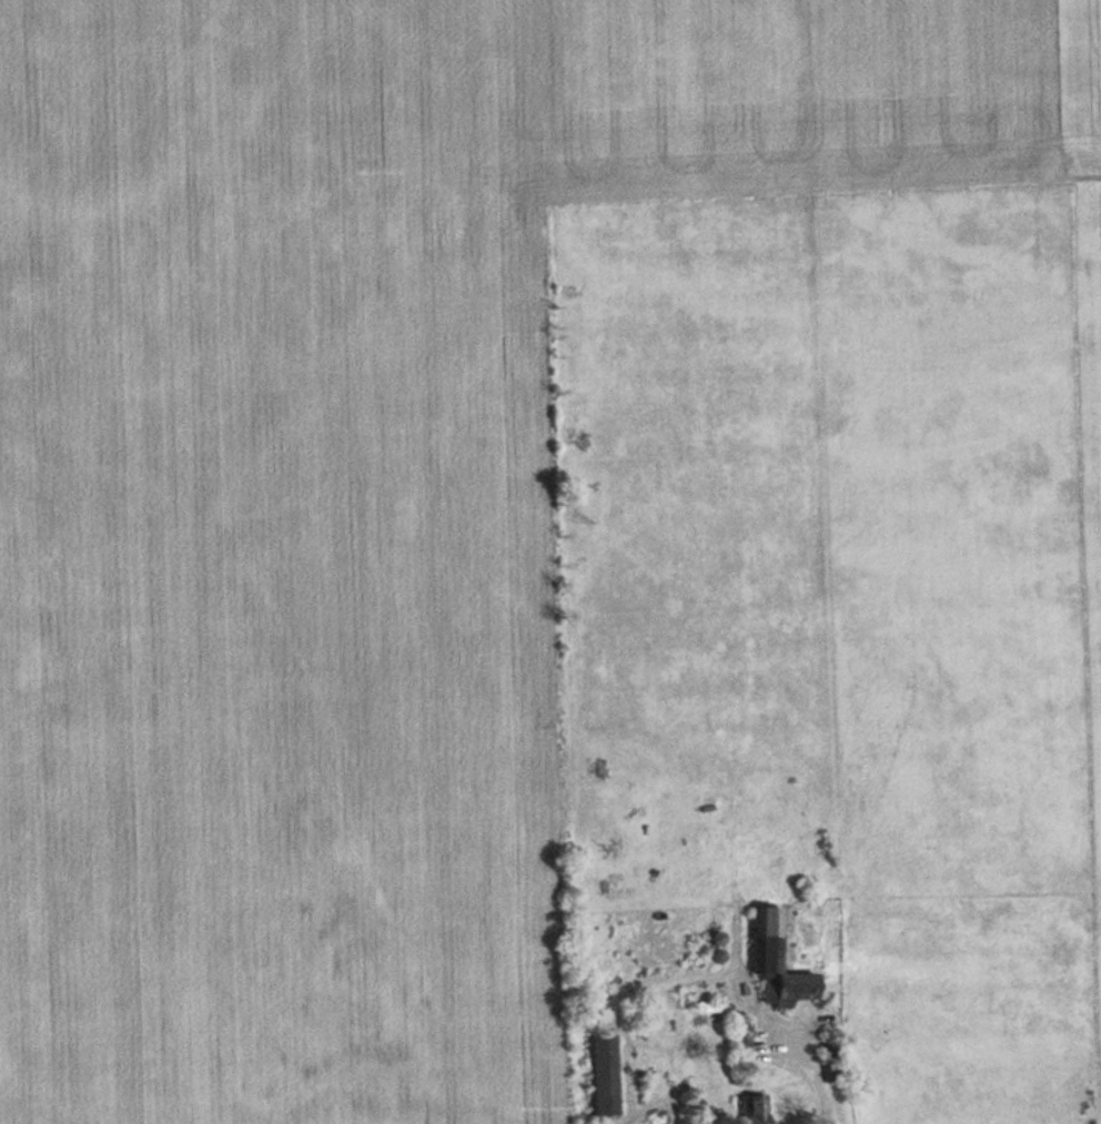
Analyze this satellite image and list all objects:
building: (780, 963)
building: (743, 1033)
building: (832, 1066)
building: (605, 1074)
building: (756, 1108)

